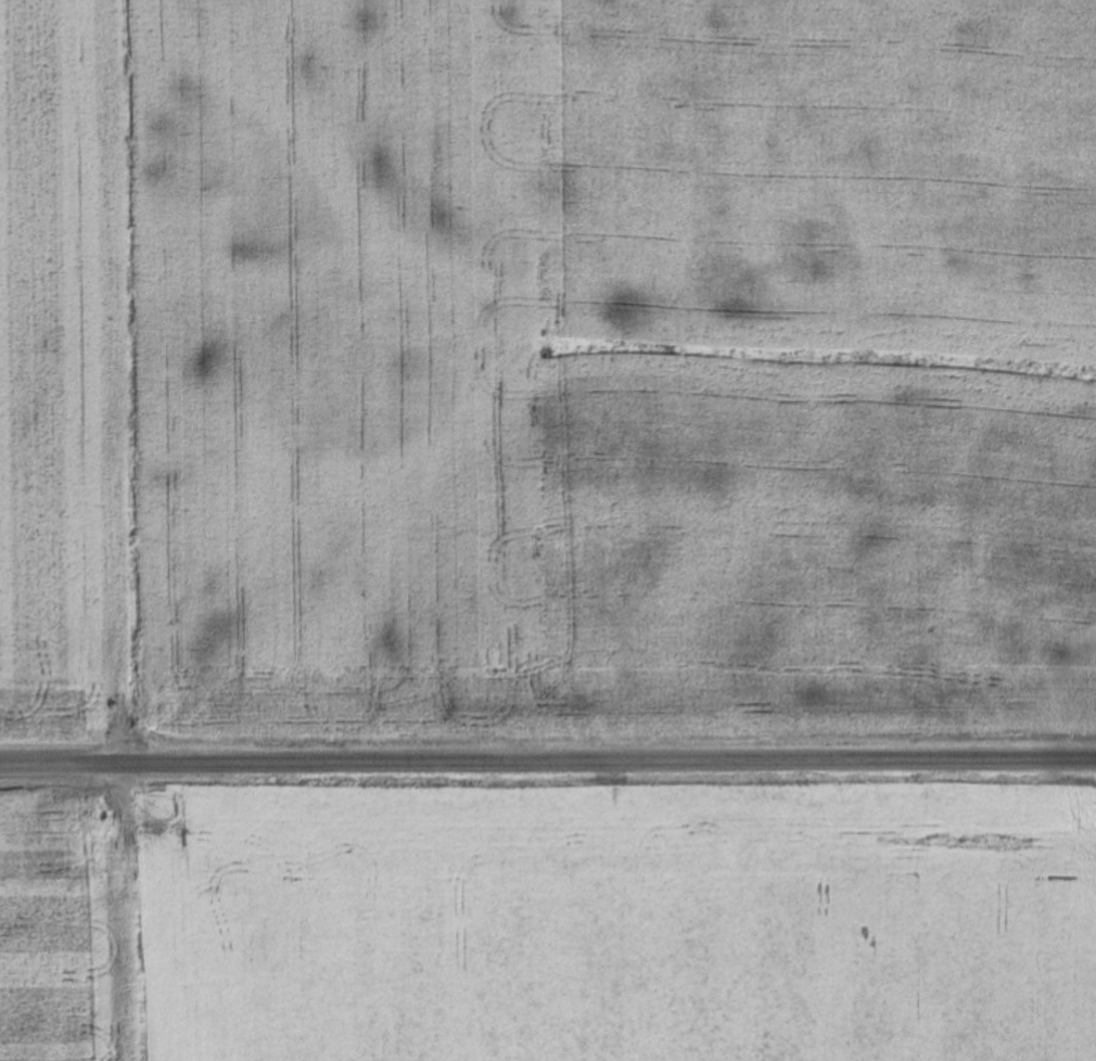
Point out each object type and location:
road: (548, 774)

